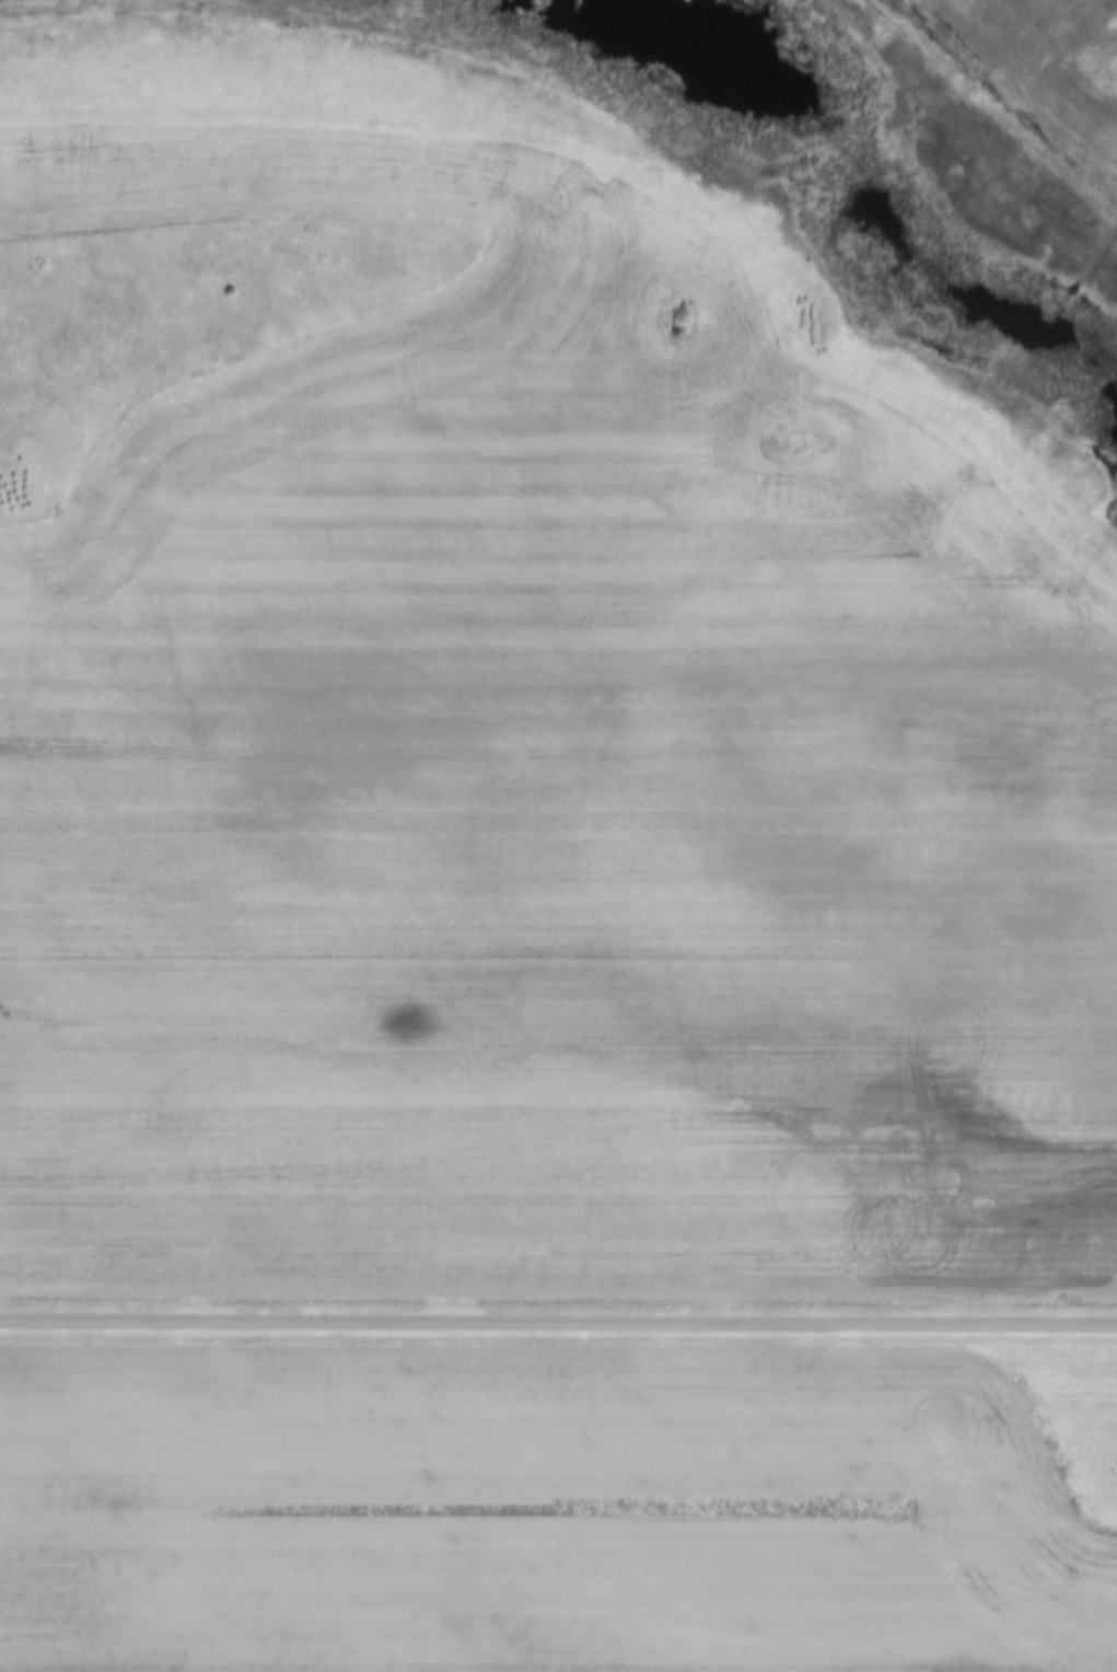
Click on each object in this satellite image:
road: (558, 1322)

